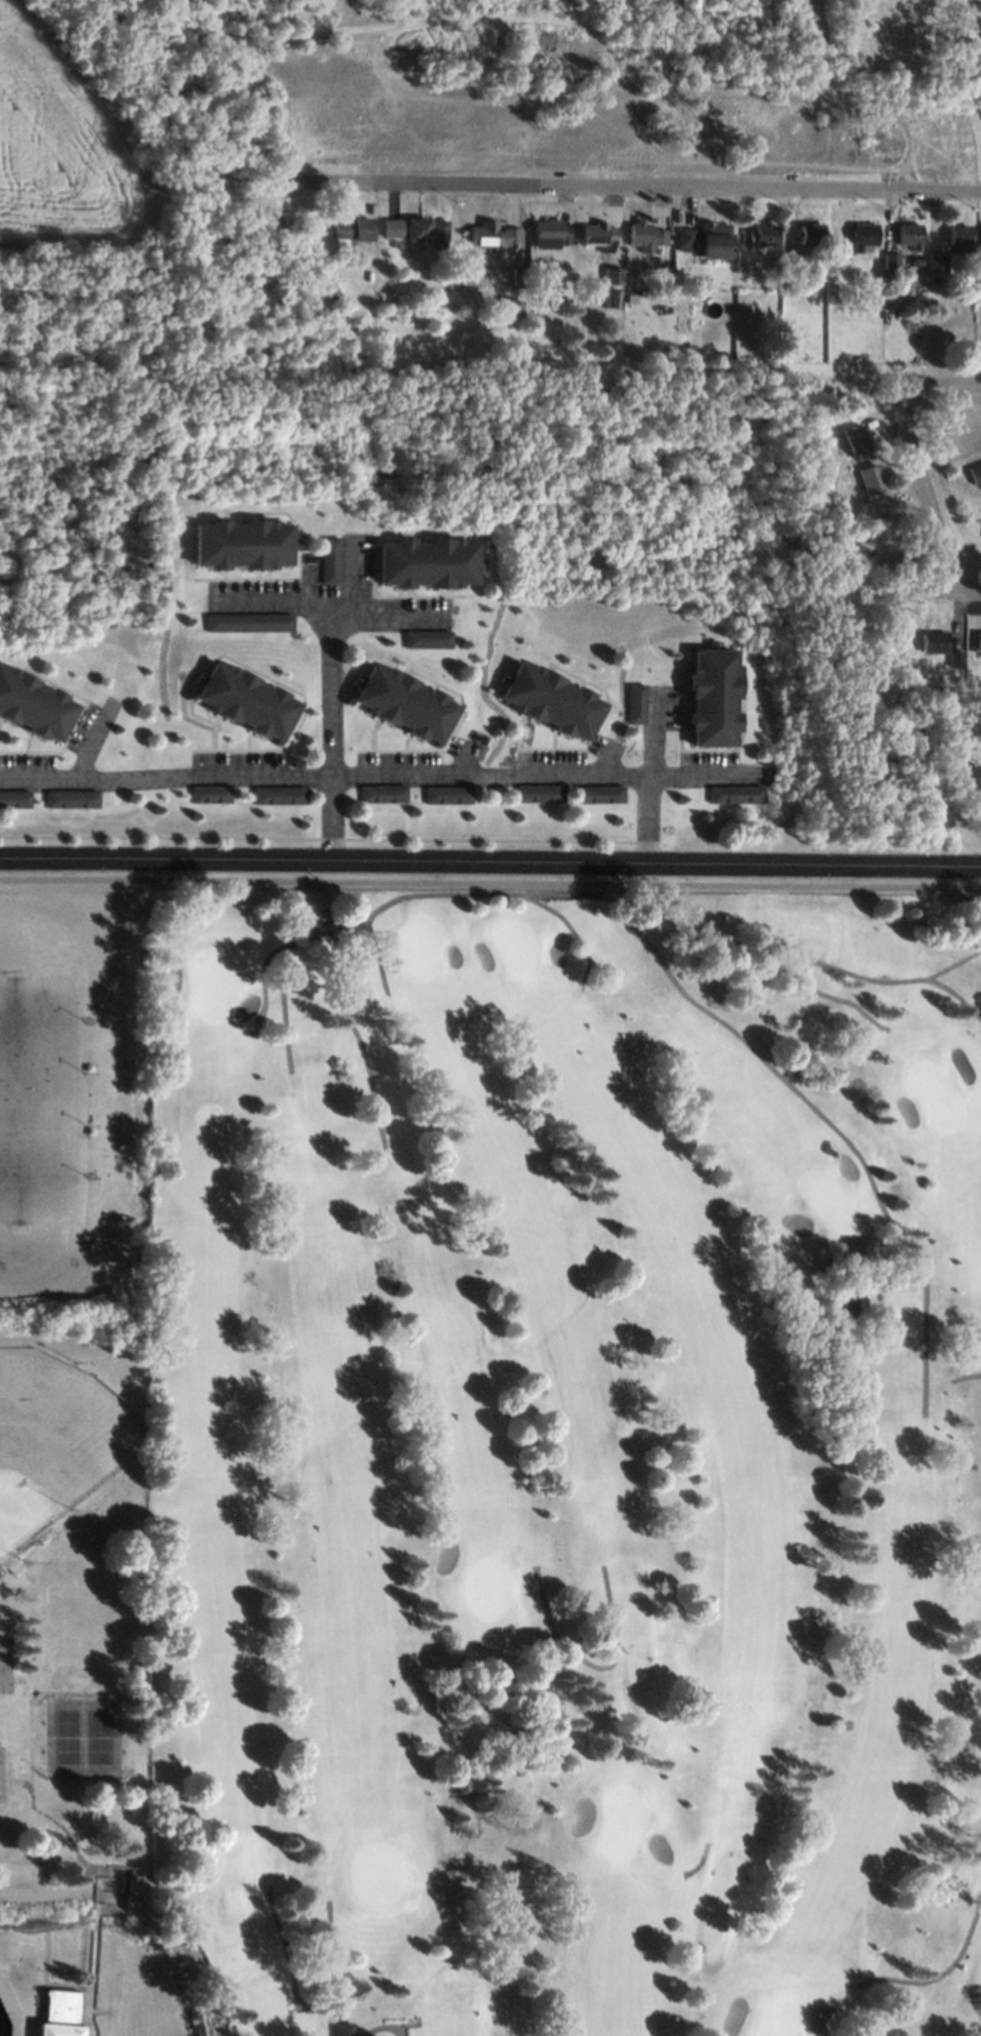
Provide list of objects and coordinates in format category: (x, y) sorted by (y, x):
road: (641, 193)
building: (392, 226)
building: (350, 229)
building: (427, 230)
building: (811, 232)
building: (491, 233)
building: (549, 233)
building: (597, 233)
building: (645, 234)
building: (761, 234)
building: (909, 234)
building: (959, 235)
building: (857, 237)
building: (705, 238)
building: (889, 259)
building: (935, 260)
building: (611, 274)
building: (610, 297)
building: (509, 308)
road: (950, 393)
building: (854, 438)
building: (974, 474)
building: (870, 478)
road: (923, 493)
building: (243, 544)
building: (429, 563)
road: (353, 570)
road: (277, 593)
road: (911, 596)
road: (967, 597)
building: (251, 623)
building: (426, 639)
building: (977, 642)
building: (937, 644)
road: (330, 673)
building: (715, 697)
building: (248, 700)
building: (552, 700)
building: (407, 703)
building: (35, 705)
road: (653, 724)
road: (541, 763)
road: (165, 766)
building: (540, 793)
building: (599, 793)
building: (734, 793)
building: (71, 797)
building: (14, 798)
road: (645, 805)
road: (490, 847)
road: (490, 882)
road: (569, 931)
park: (415, 946)
park: (512, 947)
road: (375, 956)
road: (952, 963)
road: (830, 968)
road: (666, 975)
park: (209, 980)
road: (278, 1007)
road: (358, 1044)
park: (933, 1094)
park: (826, 1198)
building: (845, 1306)
road: (972, 1336)
road: (962, 1377)
park: (570, 1457)
park: (483, 1584)
park: (3, 1663)
road: (590, 1663)
park: (85, 1699)
park: (62, 1736)
park: (96, 1736)
park: (619, 1821)
road: (696, 1862)
park: (375, 1872)
road: (932, 1976)
road: (322, 2010)
building: (61, 2014)
park: (775, 2014)
road: (337, 2024)
road: (377, 2028)

